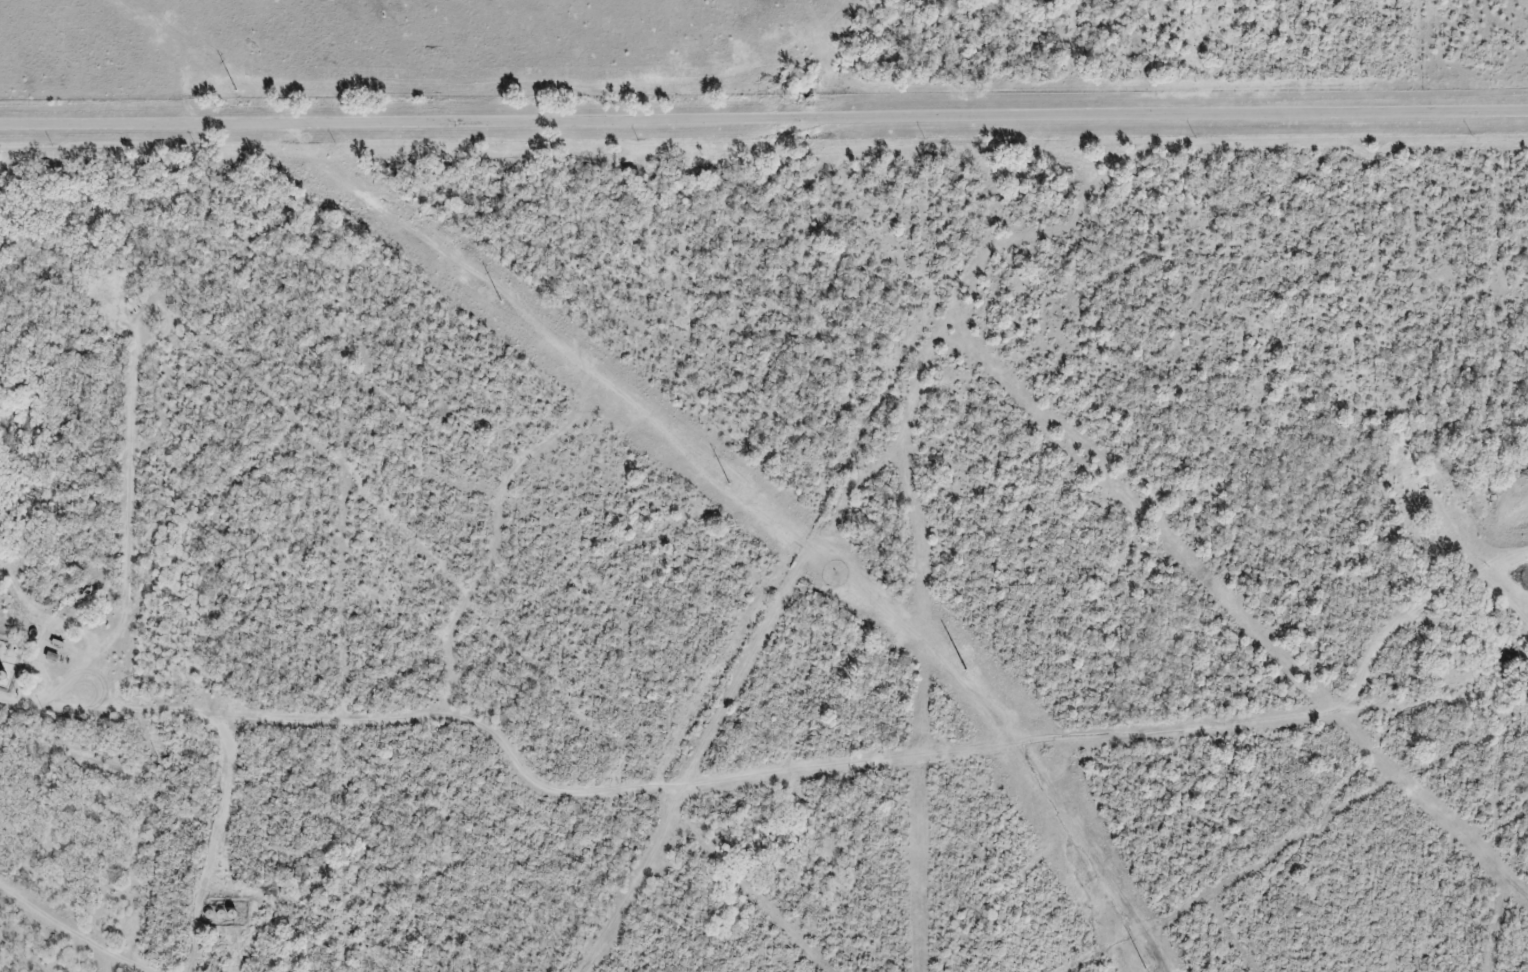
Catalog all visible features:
power tower: (240, 98)
road: (764, 119)
power tower: (495, 299)
power tower: (723, 480)
power tower: (969, 674)
road: (48, 709)
power tower: (1140, 964)

